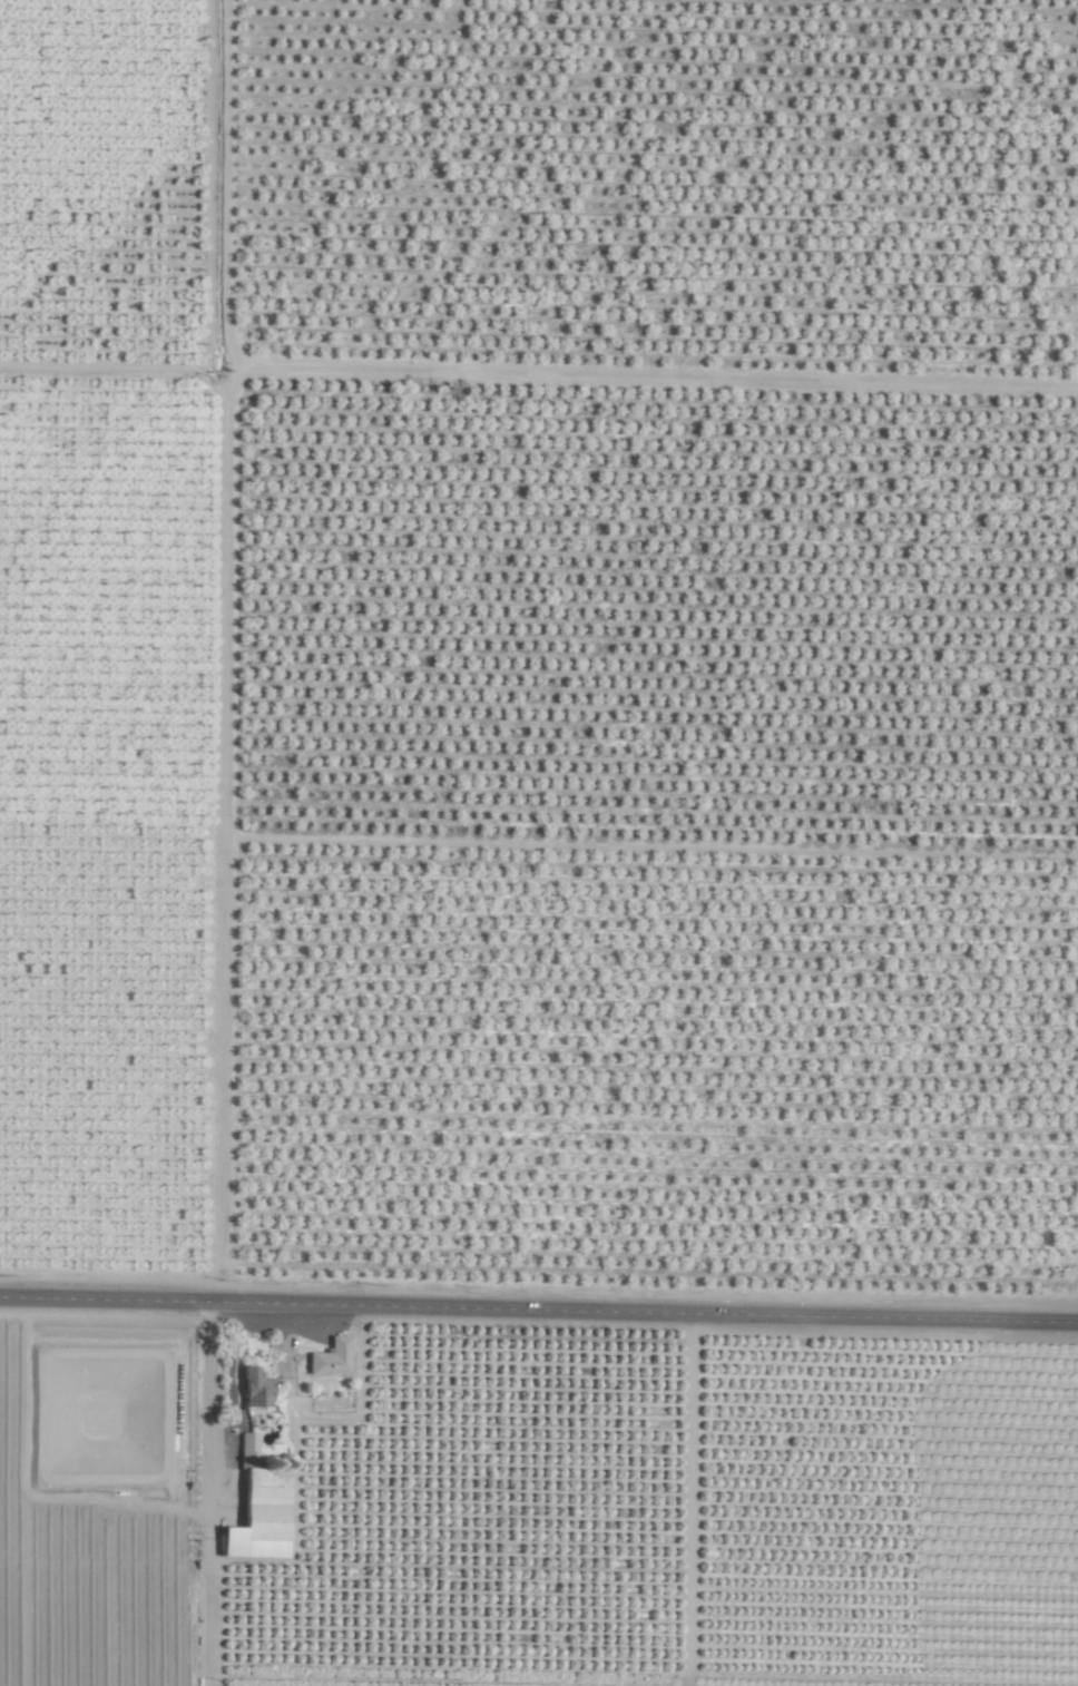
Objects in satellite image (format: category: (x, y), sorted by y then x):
crop: (539, 843)
road: (539, 1311)
building: (330, 1357)
building: (254, 1389)
building: (257, 1509)

